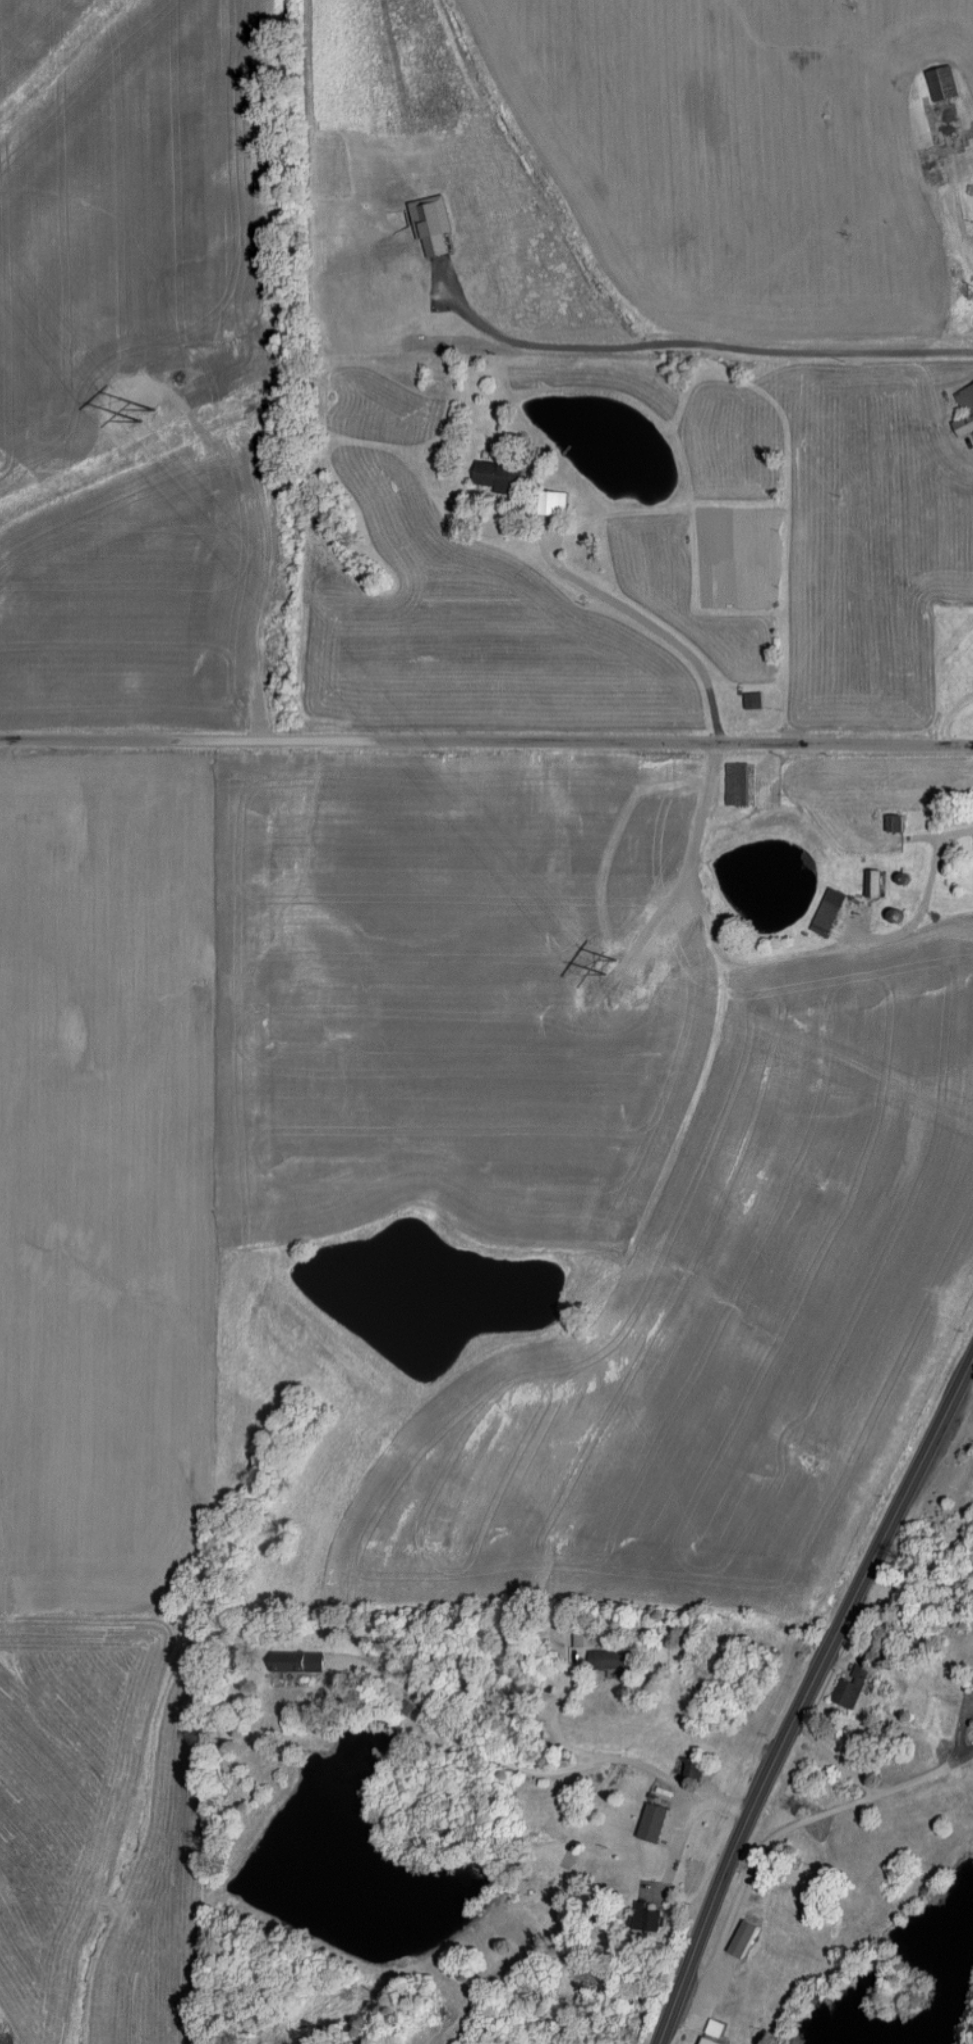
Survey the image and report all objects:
building: (944, 82)
road: (704, 354)
building: (964, 411)
power tower: (147, 419)
building: (499, 475)
building: (553, 503)
road: (659, 634)
building: (753, 700)
road: (486, 740)
building: (737, 783)
building: (896, 823)
building: (874, 883)
road: (926, 899)
building: (829, 912)
power tower: (605, 971)
road: (971, 1369)
building: (603, 1652)
building: (300, 1660)
building: (852, 1685)
road: (805, 1697)
building: (692, 1766)
road: (543, 1769)
building: (655, 1822)
building: (649, 1917)
building: (744, 1937)
building: (715, 2033)

